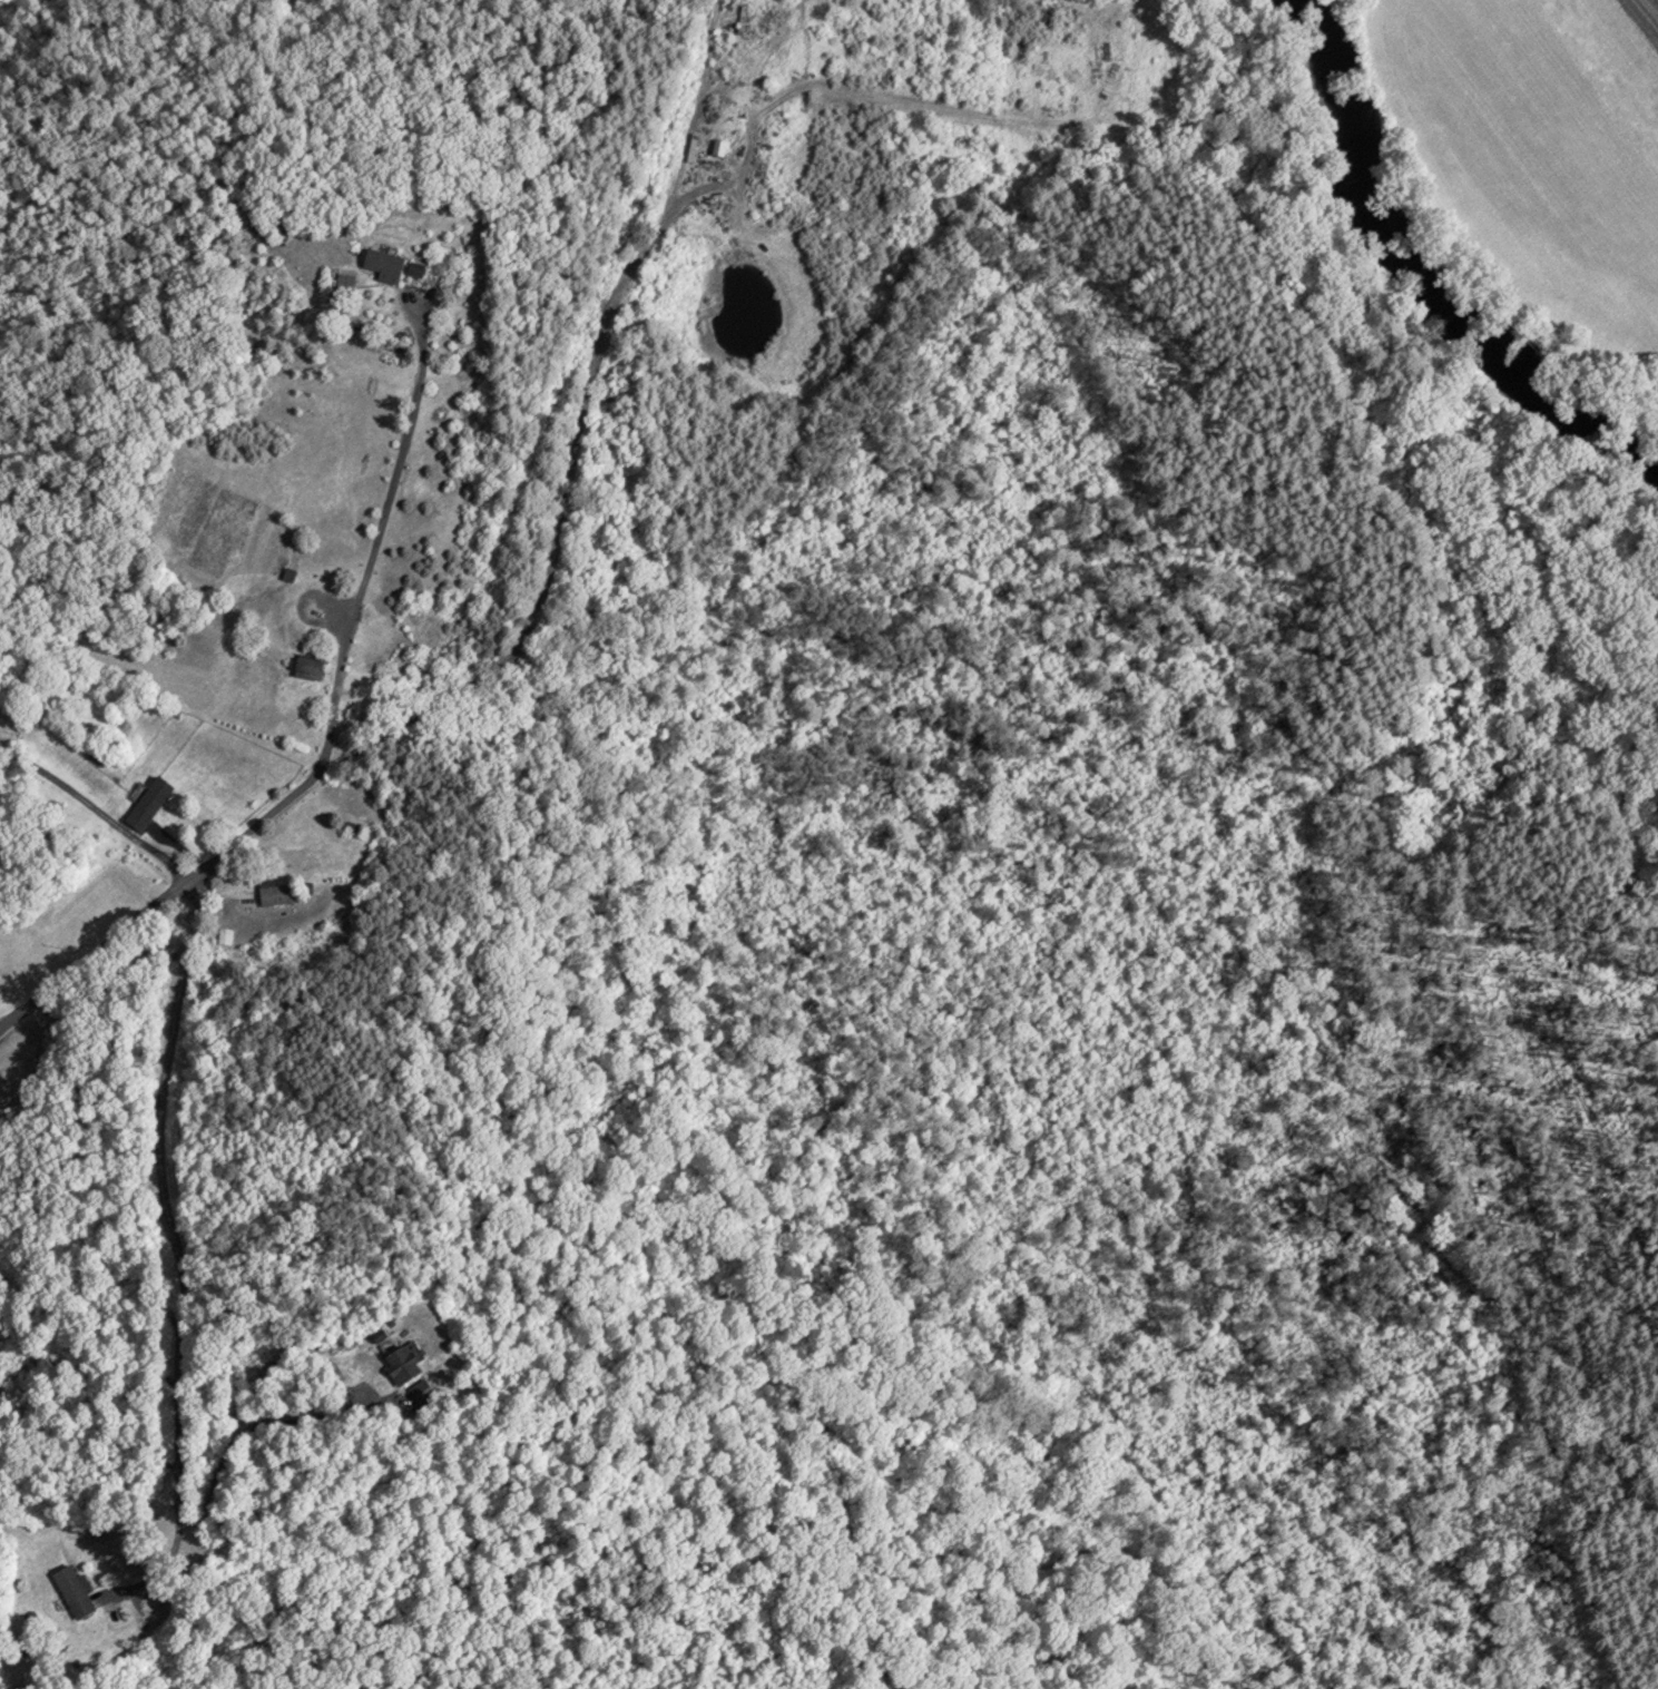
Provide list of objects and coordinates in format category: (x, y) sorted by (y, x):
building: (719, 149)
building: (384, 265)
building: (416, 271)
river: (1419, 278)
building: (345, 281)
road: (573, 440)
road: (376, 534)
building: (308, 667)
building: (148, 804)
road: (97, 811)
building: (274, 893)
road: (163, 900)
road: (176, 1249)
building: (402, 1365)
road: (265, 1421)
road: (375, 1580)
building: (75, 1591)

